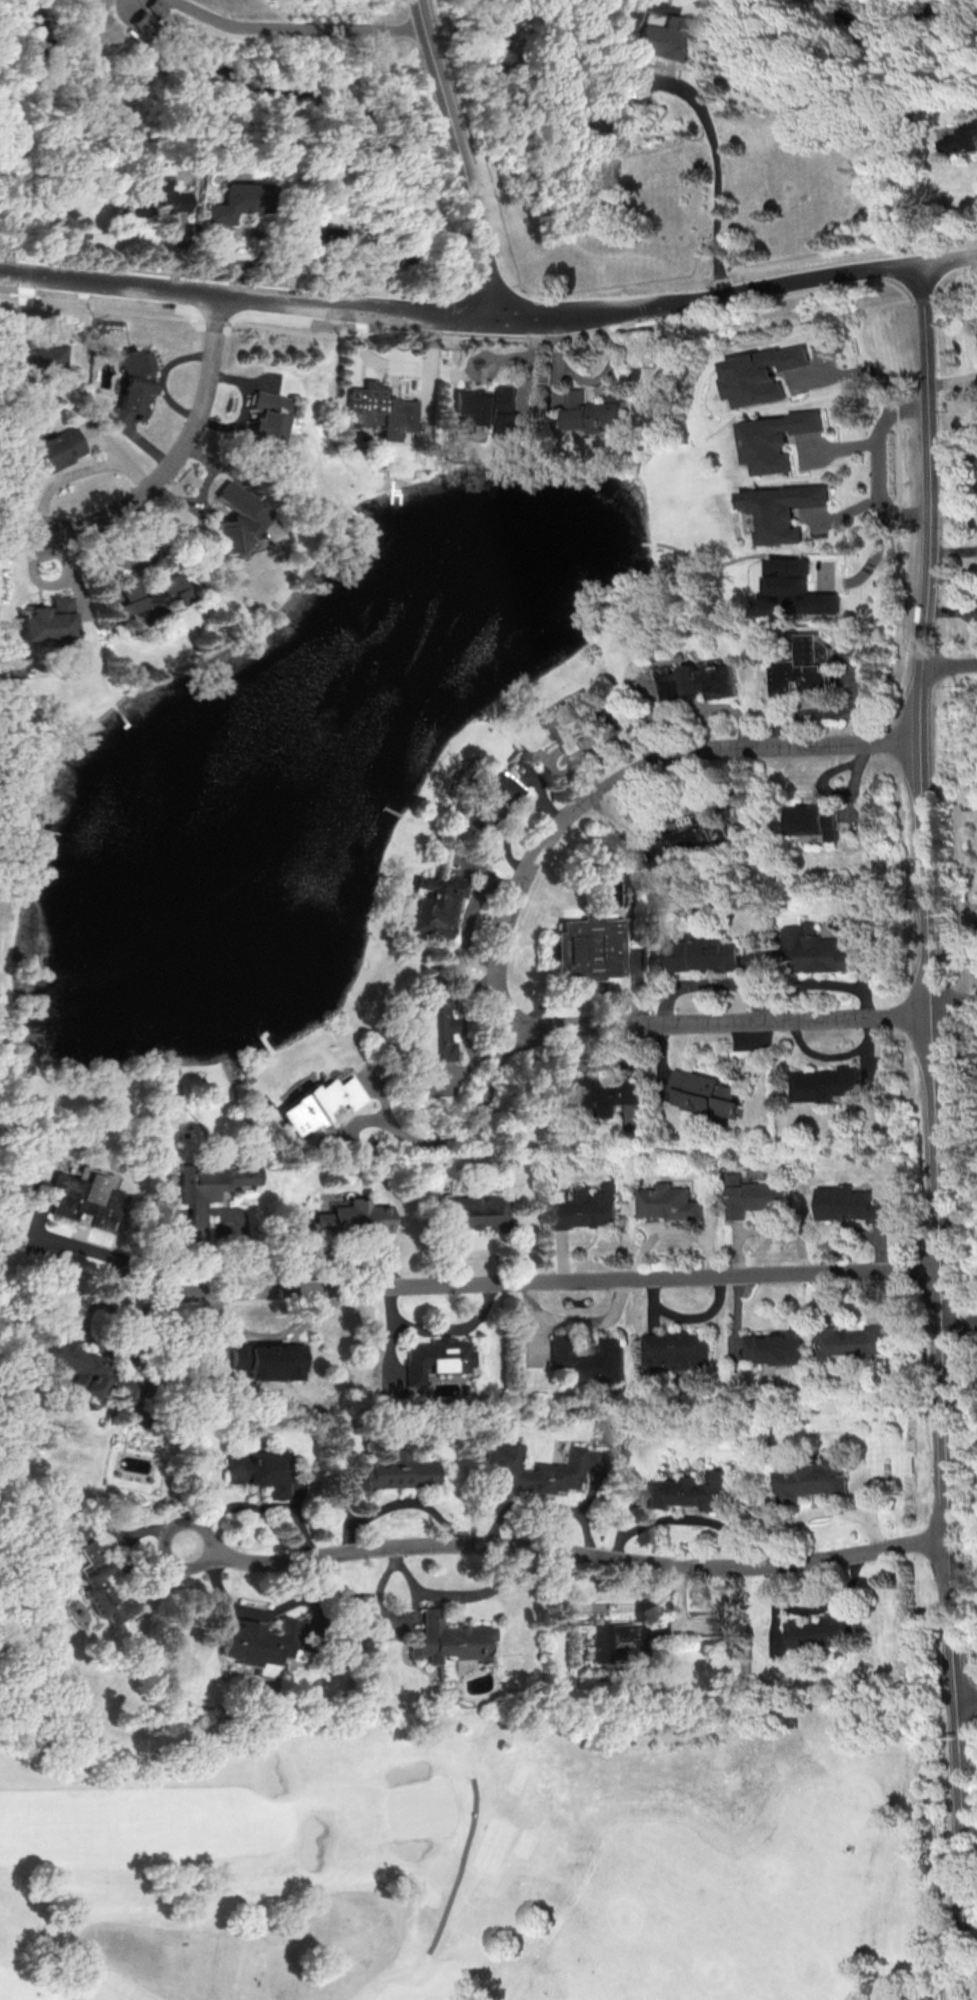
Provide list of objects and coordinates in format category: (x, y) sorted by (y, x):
river: (900, 13)
building: (149, 17)
road: (295, 28)
building: (668, 34)
river: (503, 50)
river: (433, 102)
road: (698, 104)
river: (138, 110)
building: (976, 119)
building: (963, 137)
road: (454, 160)
building: (64, 190)
building: (147, 199)
building: (238, 201)
building: (316, 235)
road: (946, 258)
road: (770, 285)
road: (270, 299)
road: (584, 315)
traffic signals: (501, 319)
road: (460, 347)
building: (39, 356)
road: (860, 371)
building: (766, 375)
building: (135, 379)
building: (376, 410)
building: (490, 411)
building: (594, 411)
building: (268, 419)
building: (779, 439)
building: (57, 449)
road: (179, 450)
road: (883, 463)
building: (782, 510)
building: (235, 519)
building: (795, 590)
building: (151, 598)
building: (51, 621)
building: (804, 667)
road: (949, 667)
building: (698, 680)
building: (574, 719)
building: (487, 801)
building: (971, 805)
building: (812, 820)
building: (686, 842)
building: (437, 905)
road: (507, 936)
building: (591, 947)
building: (814, 950)
building: (700, 953)
road: (926, 981)
road: (952, 1002)
building: (438, 1029)
building: (824, 1083)
building: (704, 1093)
building: (320, 1103)
road: (466, 1134)
building: (211, 1186)
building: (751, 1196)
building: (86, 1197)
building: (668, 1202)
building: (848, 1204)
building: (586, 1208)
building: (473, 1212)
building: (355, 1218)
road: (78, 1246)
road: (535, 1280)
road: (958, 1321)
road: (440, 1331)
building: (848, 1340)
building: (773, 1347)
building: (676, 1350)
building: (436, 1359)
building: (588, 1359)
building: (269, 1361)
building: (82, 1367)
building: (595, 1463)
building: (558, 1467)
building: (258, 1470)
building: (394, 1472)
building: (811, 1481)
building: (690, 1491)
road: (545, 1505)
road: (254, 1508)
road: (563, 1550)
building: (102, 1584)
road: (267, 1612)
building: (823, 1631)
building: (623, 1639)
building: (258, 1642)
building: (449, 1642)
road: (965, 1700)
road: (958, 1849)
park: (482, 1853)
road: (461, 1869)
road: (212, 1966)

